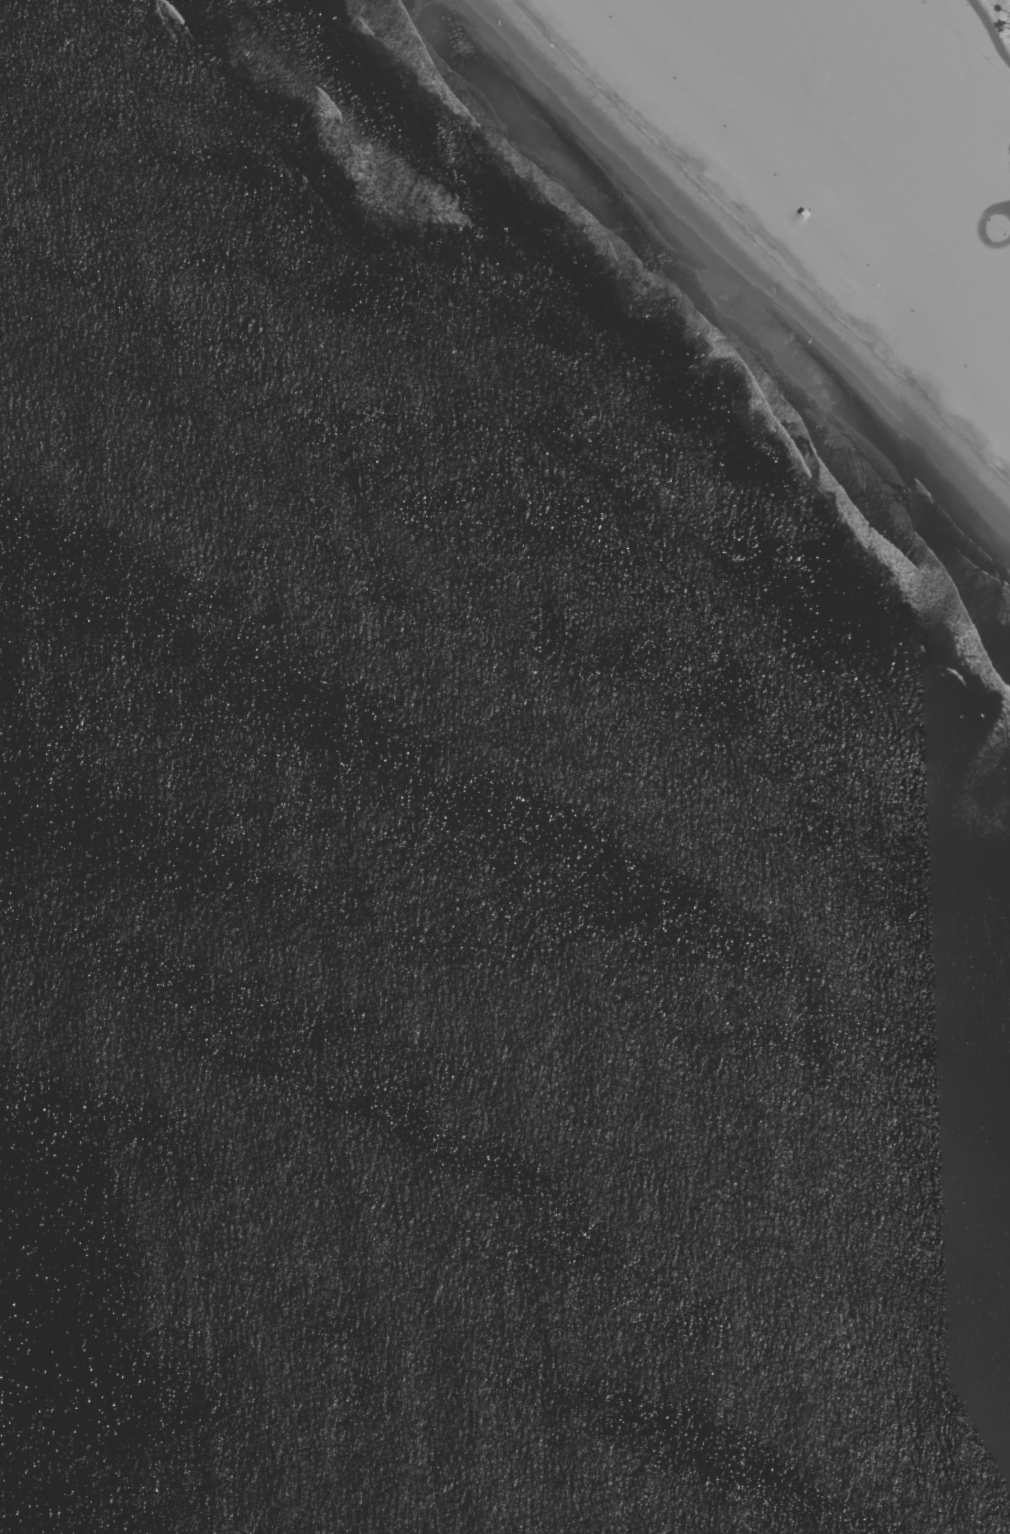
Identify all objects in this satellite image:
road: (990, 30)
building: (834, 185)
road: (1009, 213)
road: (981, 226)

